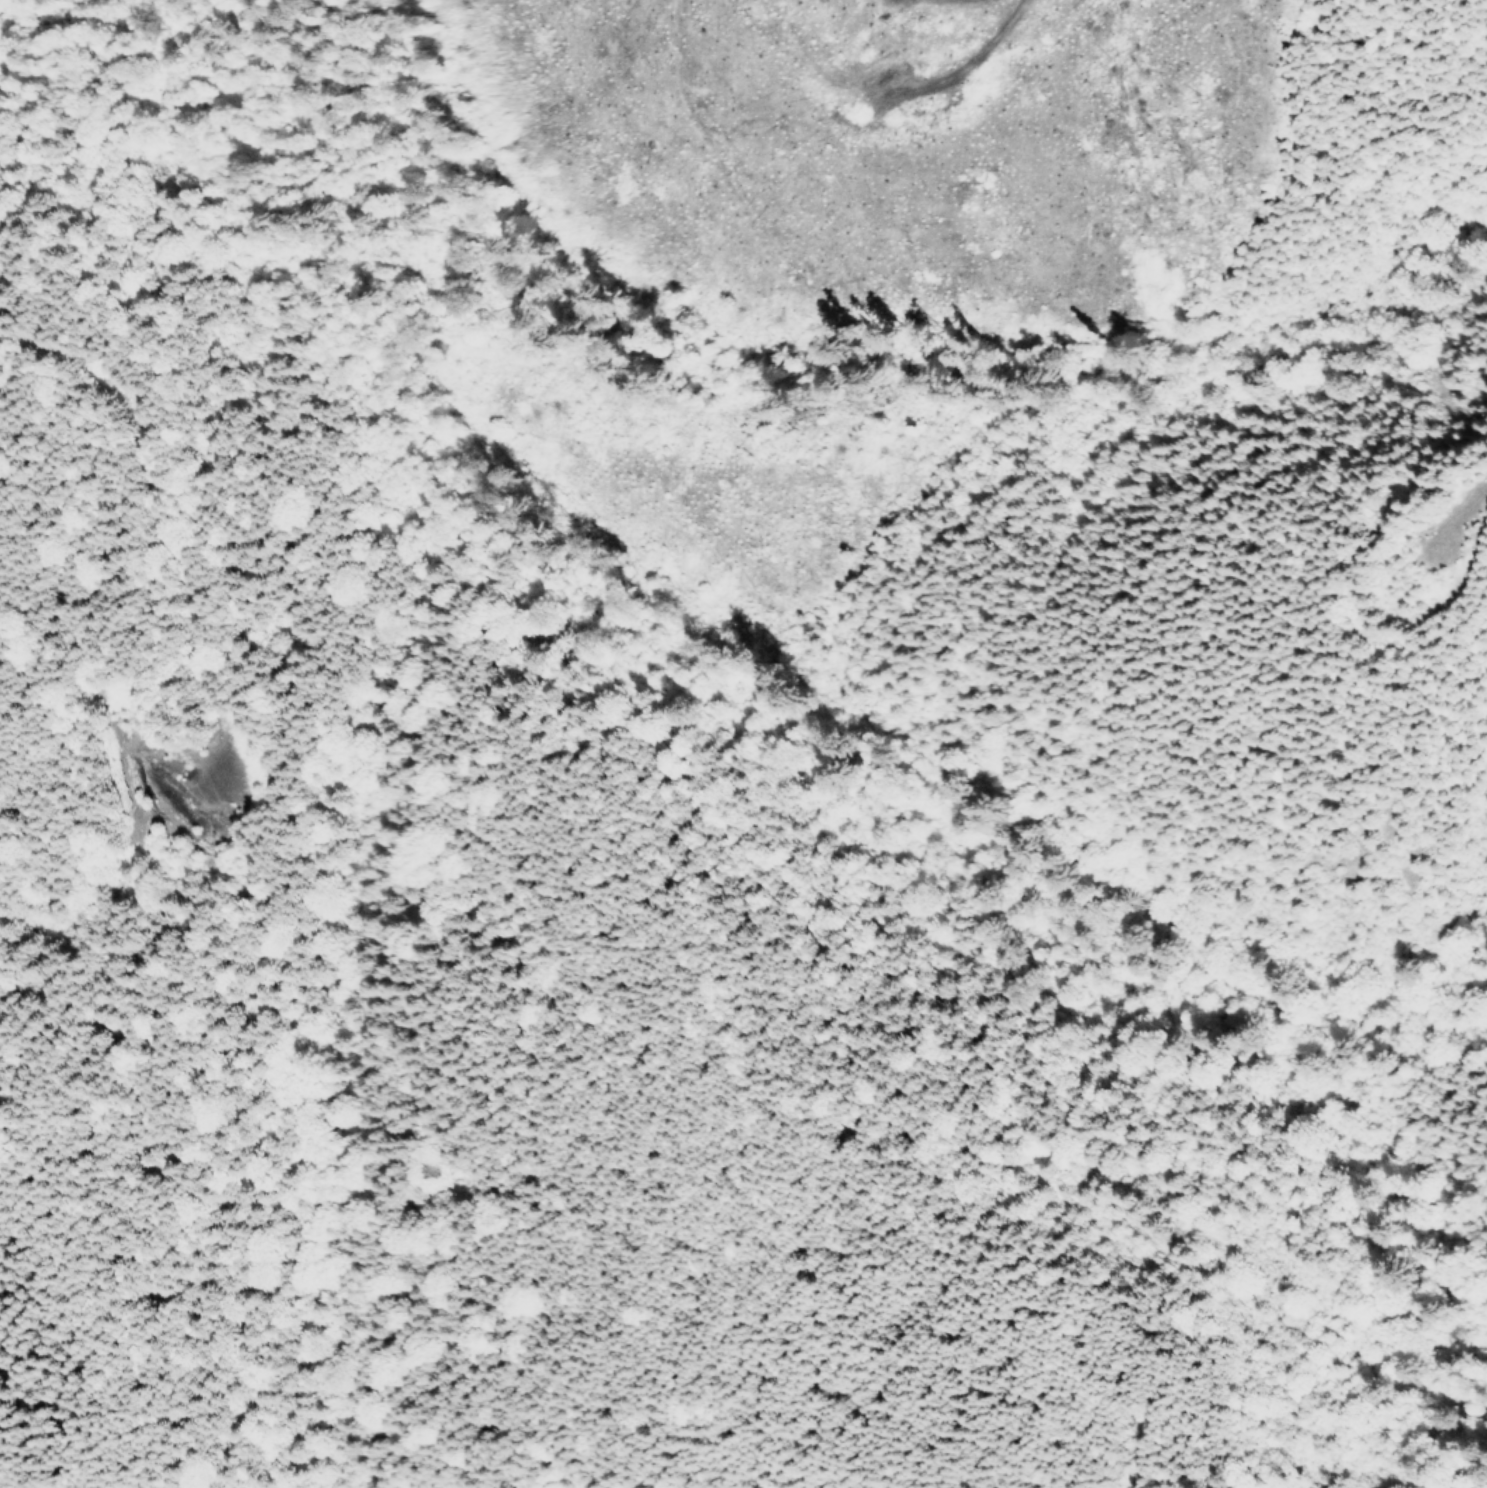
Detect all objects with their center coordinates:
road: (292, 109)
road: (162, 481)

